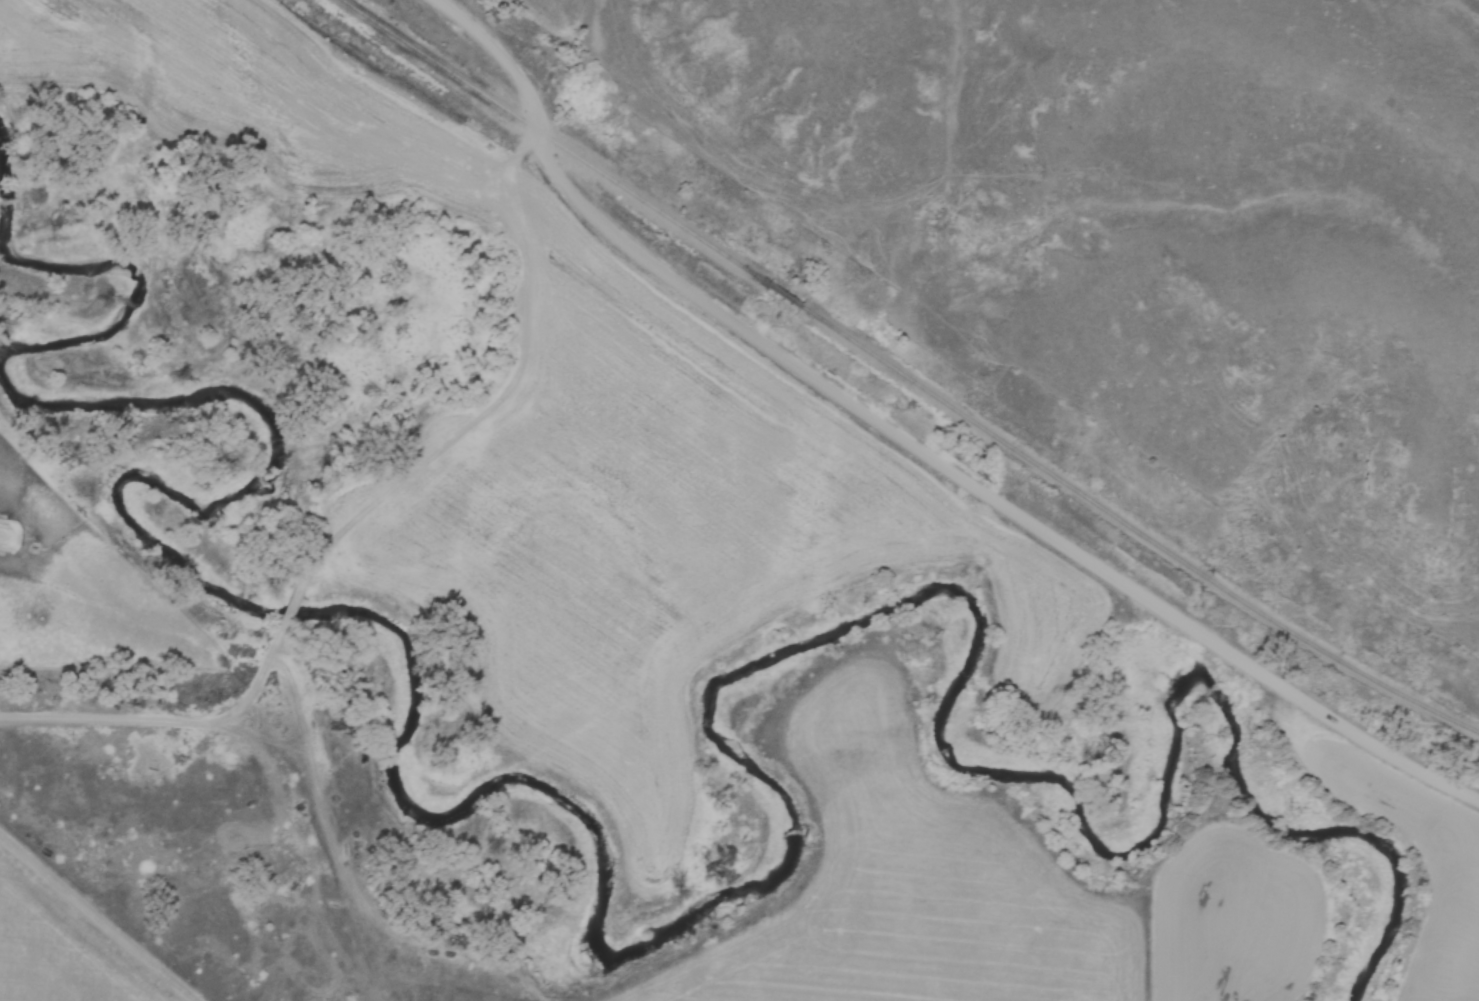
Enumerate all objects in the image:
railway: (553, 143)
railway: (784, 296)
road: (915, 444)
railway: (1133, 528)
road: (100, 917)

